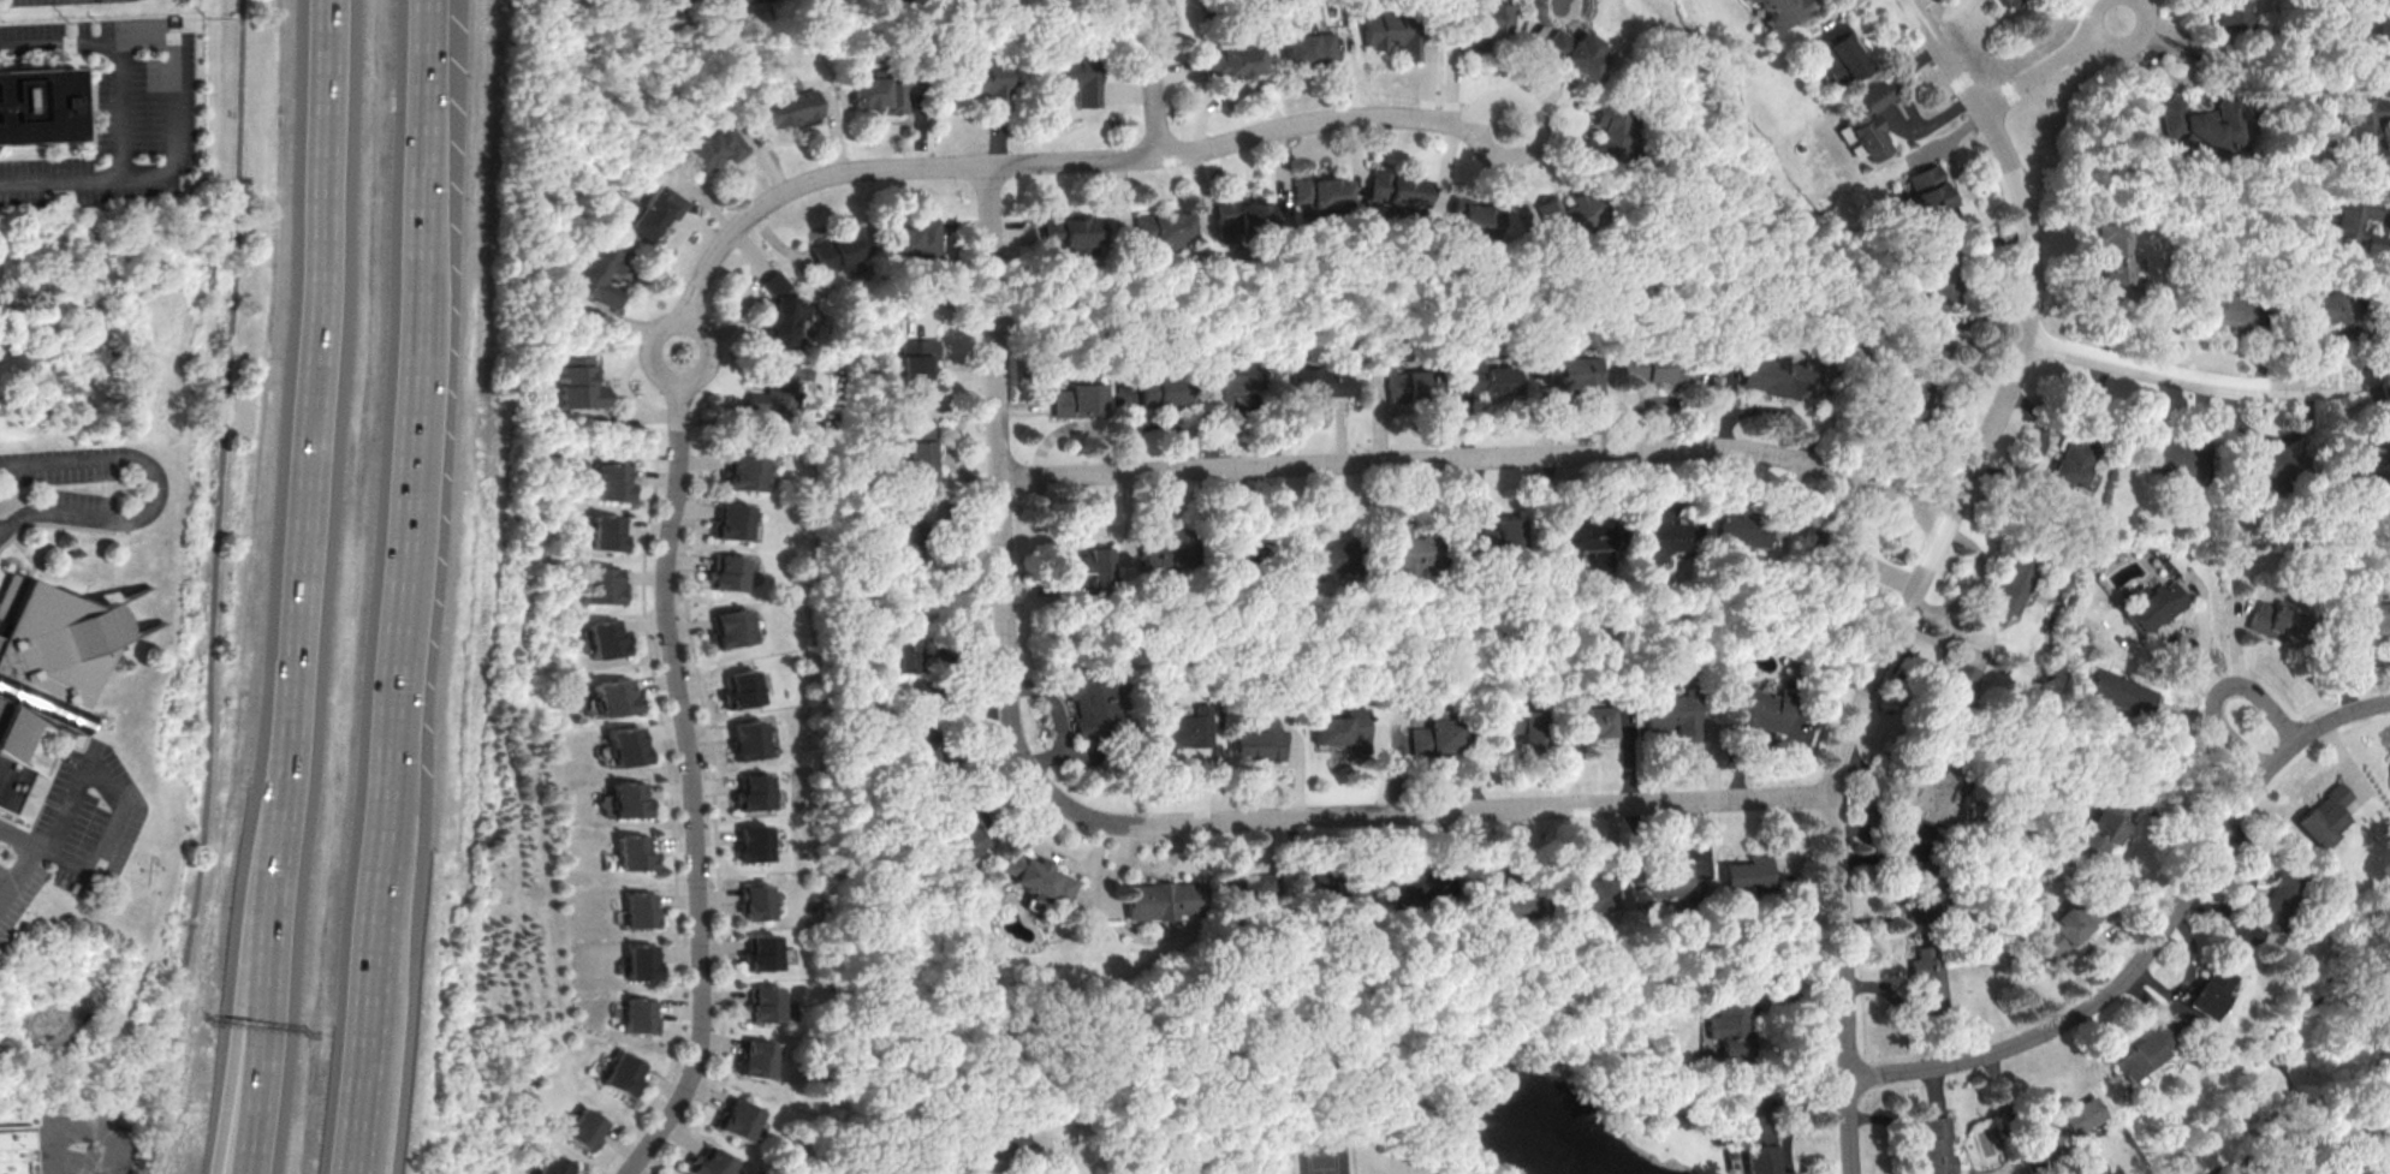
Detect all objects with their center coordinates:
building: (720, 0)
building: (753, 0)
building: (664, 1)
building: (2004, 1)
building: (1777, 11)
building: (2229, 20)
building: (1488, 23)
building: (1396, 29)
building: (2361, 34)
building: (1309, 42)
building: (1577, 53)
building: (1839, 53)
building: (1235, 55)
road: (2053, 65)
building: (1069, 73)
road: (1154, 77)
road: (1522, 77)
building: (979, 81)
building: (882, 87)
road: (1227, 94)
building: (36, 105)
building: (793, 106)
road: (168, 107)
building: (1868, 119)
building: (2201, 120)
building: (1611, 131)
building: (2368, 131)
building: (713, 143)
road: (1064, 161)
road: (1515, 187)
building: (1399, 190)
building: (1927, 191)
building: (1324, 196)
building: (653, 210)
building: (1569, 213)
building: (1239, 215)
building: (1478, 215)
building: (2358, 219)
building: (1163, 226)
building: (1072, 232)
building: (914, 238)
building: (839, 249)
building: (2117, 260)
building: (1939, 264)
building: (599, 270)
building: (2224, 306)
building: (2329, 308)
building: (798, 310)
building: (777, 312)
building: (2342, 336)
road: (649, 347)
road: (717, 358)
building: (917, 358)
building: (1657, 366)
building: (1575, 373)
building: (1784, 374)
building: (1233, 375)
building: (1919, 375)
building: (1488, 376)
building: (577, 380)
building: (1319, 381)
building: (1409, 381)
road: (2208, 381)
building: (775, 386)
building: (1163, 387)
road: (320, 392)
building: (1077, 393)
building: (1125, 394)
road: (1071, 428)
building: (922, 449)
building: (2075, 449)
building: (2174, 454)
road: (1484, 455)
building: (2271, 461)
building: (2358, 461)
building: (743, 470)
building: (612, 481)
road: (159, 490)
building: (731, 519)
building: (1744, 525)
building: (904, 528)
building: (606, 532)
building: (1579, 534)
building: (1497, 535)
building: (1658, 537)
building: (1413, 543)
building: (1169, 546)
building: (1253, 547)
building: (1324, 552)
building: (1831, 554)
building: (1089, 567)
road: (1927, 570)
building: (726, 571)
building: (600, 582)
building: (2010, 585)
road: (405, 588)
road: (218, 589)
building: (2156, 606)
building: (2366, 615)
building: (2278, 620)
building: (730, 626)
building: (605, 637)
building: (906, 638)
building: (44, 669)
building: (741, 687)
building: (1957, 691)
building: (2123, 691)
road: (2212, 692)
building: (613, 695)
building: (1094, 705)
building: (1761, 707)
building: (1678, 711)
building: (1591, 722)
building: (1524, 723)
building: (917, 728)
building: (1346, 728)
building: (1179, 733)
building: (1440, 733)
building: (747, 737)
building: (1260, 737)
building: (626, 745)
building: (2389, 763)
road: (689, 788)
road: (109, 789)
building: (754, 791)
building: (1936, 791)
building: (629, 798)
building: (2325, 815)
road: (1122, 822)
building: (2111, 824)
building: (959, 829)
road: (23, 840)
building: (754, 841)
building: (631, 852)
road: (17, 870)
building: (1747, 870)
building: (1042, 877)
building: (1670, 880)
building: (1413, 882)
building: (1342, 886)
building: (1581, 888)
building: (1927, 892)
building: (2270, 896)
building: (1164, 898)
building: (1247, 898)
building: (755, 900)
road: (274, 902)
building: (1510, 905)
building: (637, 907)
building: (2075, 925)
road: (2156, 942)
building: (760, 952)
building: (638, 959)
building: (1931, 977)
building: (2213, 991)
building: (765, 1002)
building: (637, 1013)
building: (1730, 1025)
building: (2148, 1056)
building: (756, 1059)
building: (623, 1073)
road: (224, 1095)
building: (2379, 1097)
road: (252, 1098)
road: (1795, 1116)
building: (735, 1118)
building: (2077, 1120)
building: (584, 1127)
building: (997, 1133)
road: (89, 1136)
building: (1759, 1143)
building: (1936, 1145)
road: (1047, 1146)
building: (18, 1150)
park: (1324, 1155)
building: (707, 1162)
building: (553, 1164)
building: (2348, 1172)

